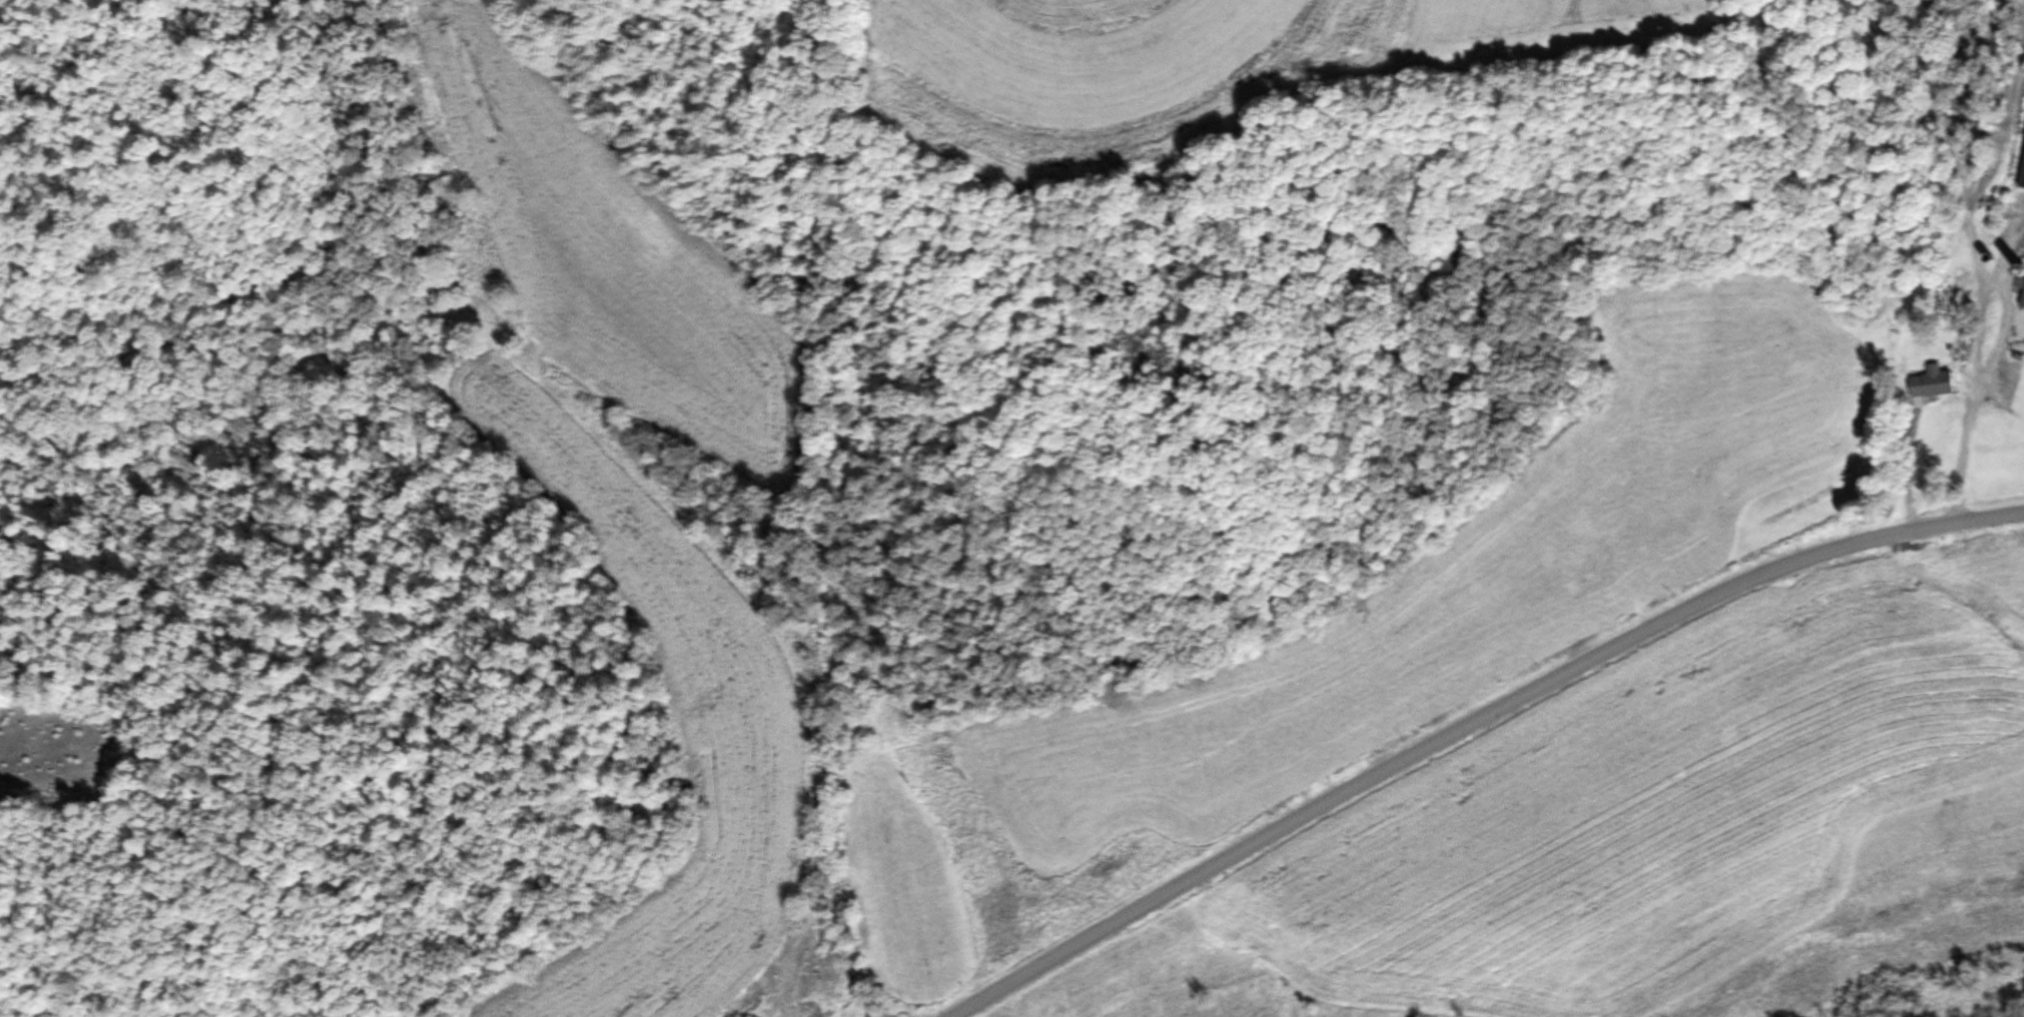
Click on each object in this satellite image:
building: (2023, 182)
building: (2021, 275)
building: (2023, 306)
building: (1932, 383)
road: (1476, 725)
quarry: (52, 845)

